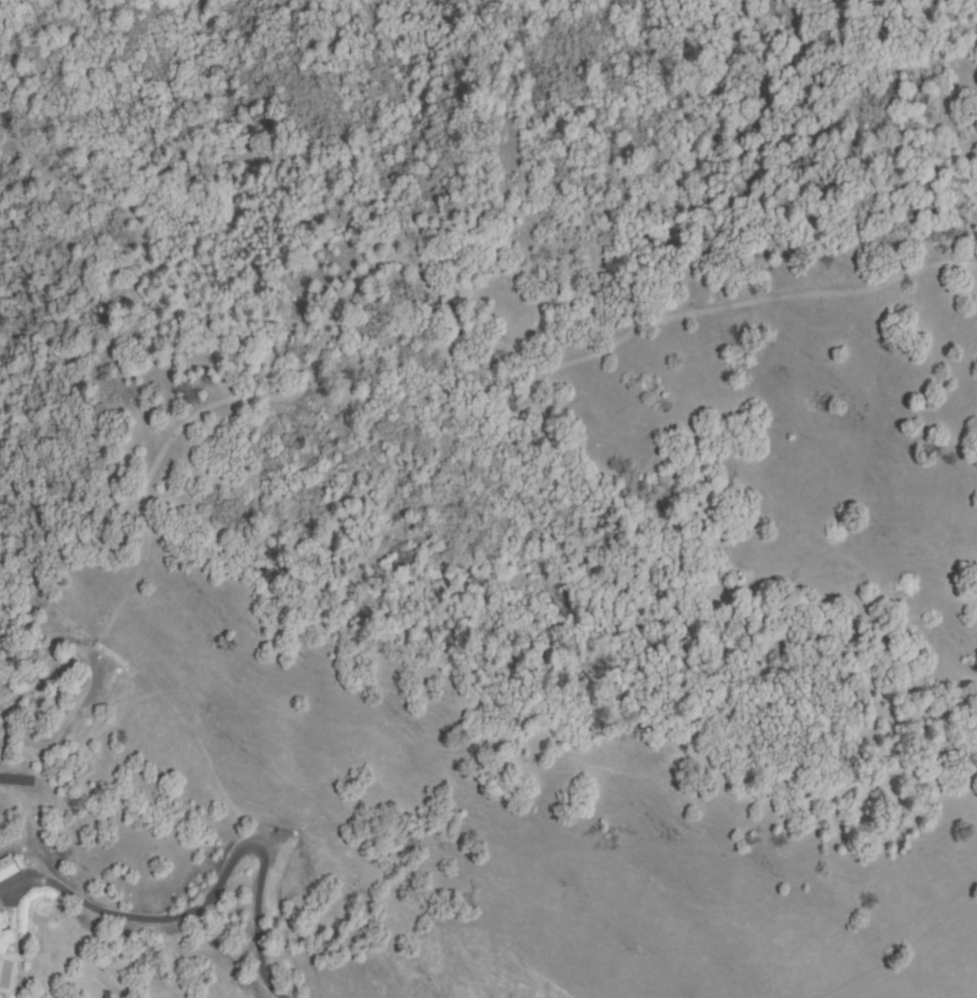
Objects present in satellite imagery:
building: (6, 868)
road: (207, 885)
building: (6, 936)

